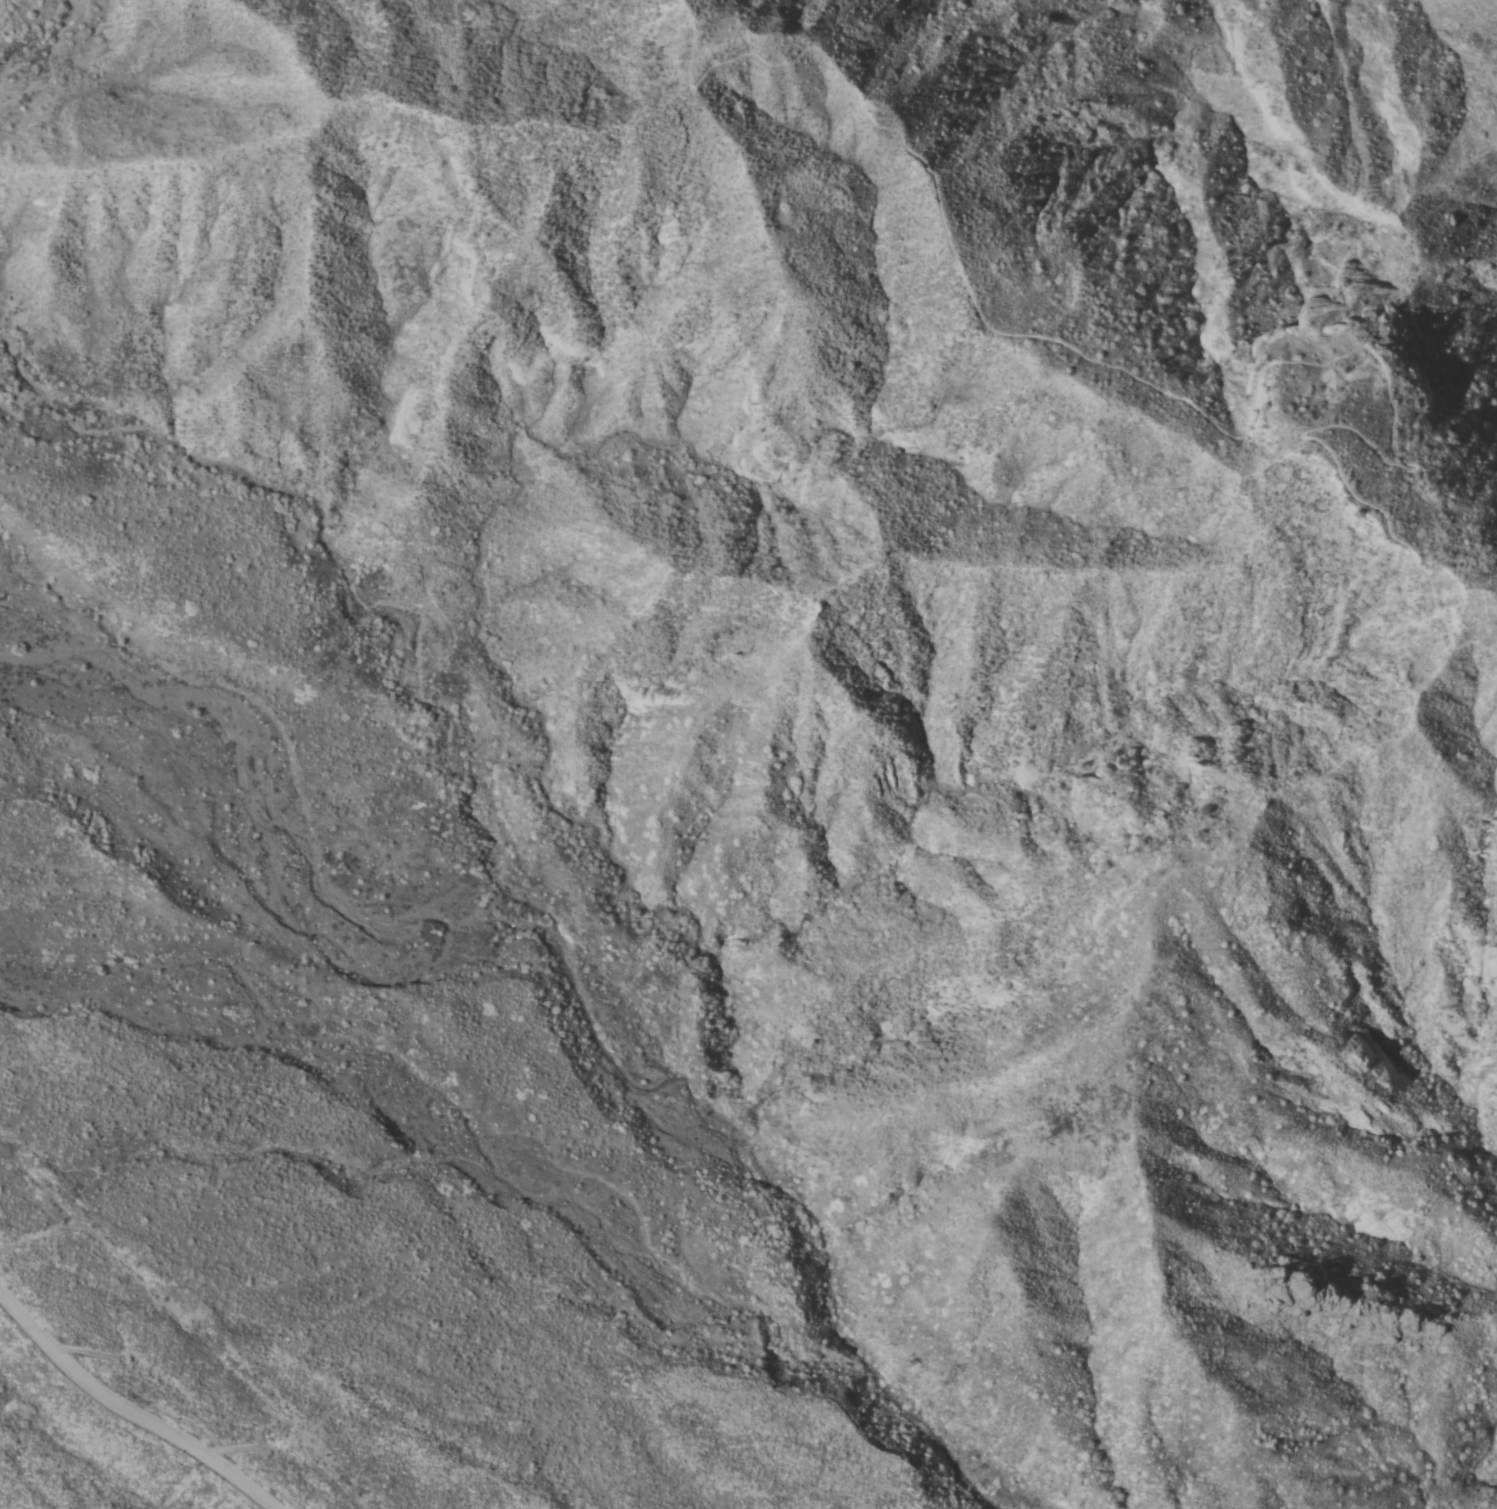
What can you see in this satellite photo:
road: (1214, 422)
road: (126, 1412)

